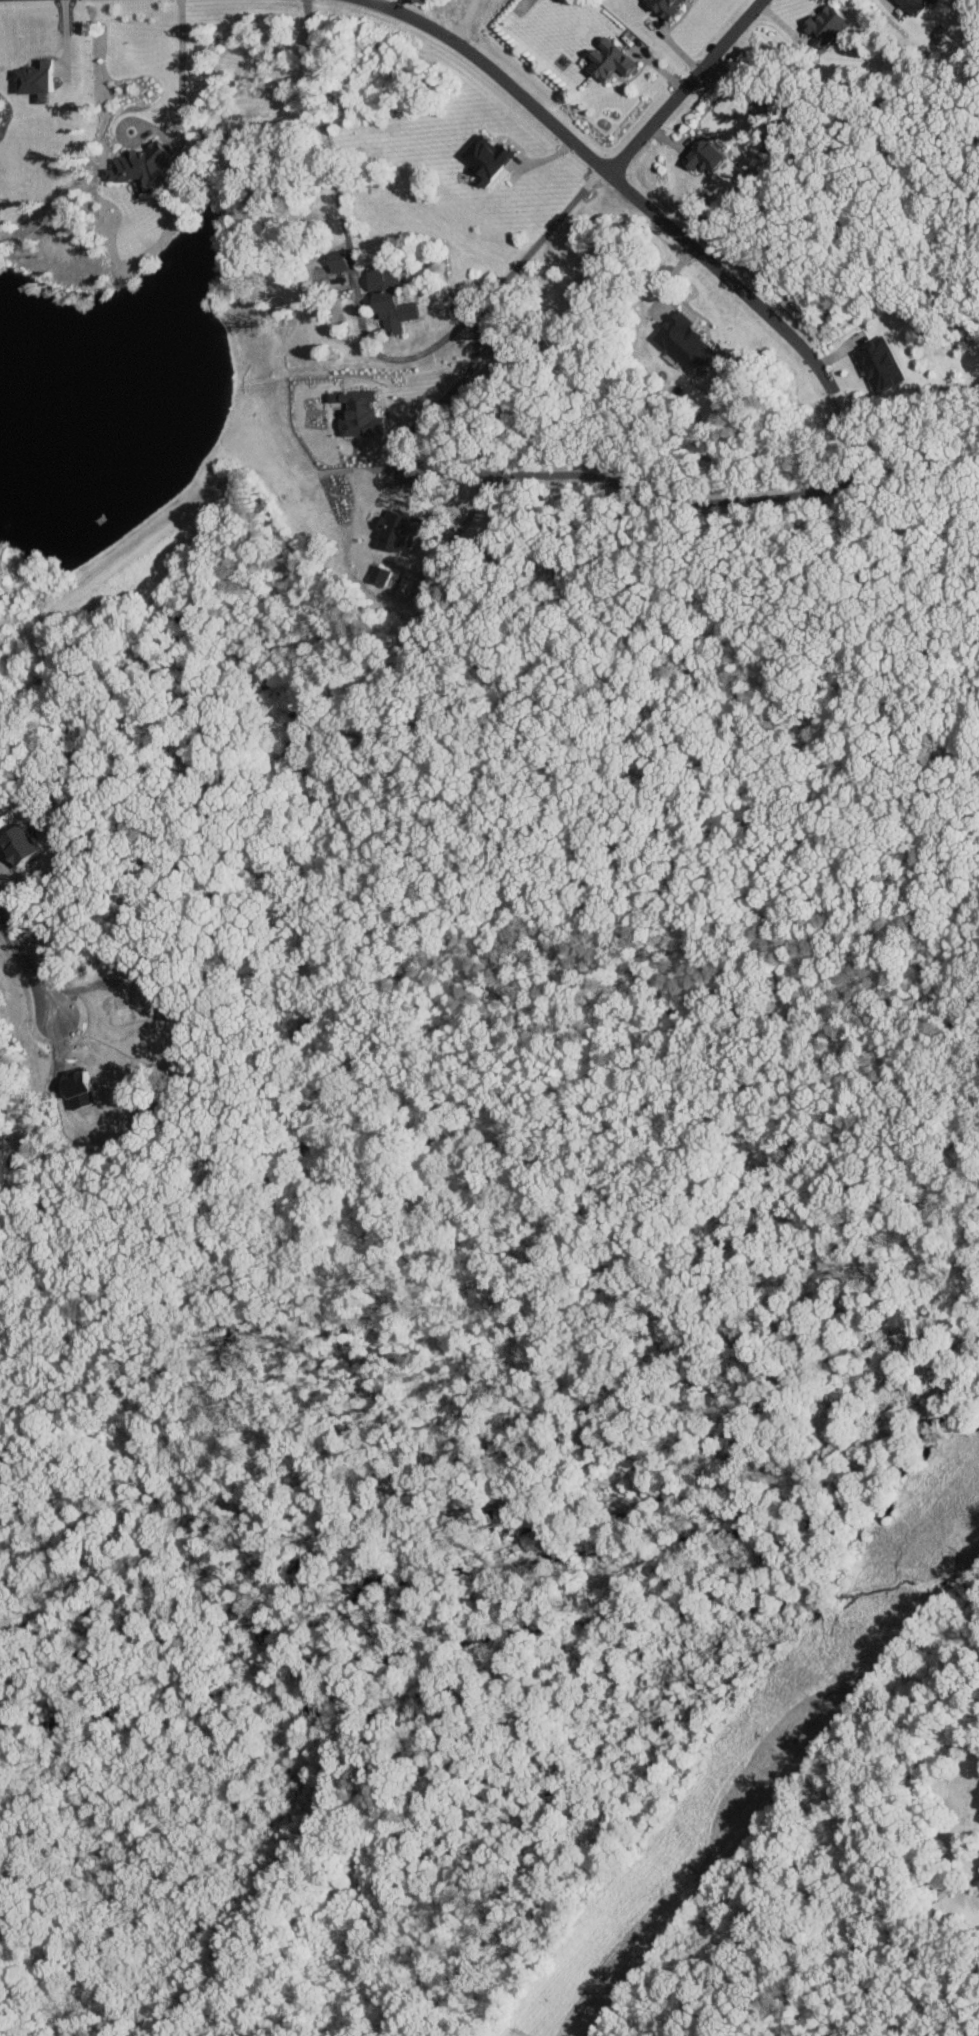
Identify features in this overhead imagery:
road: (361, 1)
road: (882, 2)
building: (908, 4)
building: (662, 6)
road: (460, 19)
building: (824, 24)
building: (606, 59)
road: (180, 64)
building: (33, 79)
road: (683, 86)
building: (700, 156)
building: (484, 158)
building: (139, 166)
road: (606, 172)
road: (345, 234)
building: (335, 262)
road: (663, 286)
building: (385, 299)
road: (484, 301)
building: (683, 342)
building: (877, 361)
building: (355, 412)
road: (682, 501)
building: (394, 530)
building: (377, 574)
building: (401, 589)
road: (28, 962)
river: (485, 1635)

